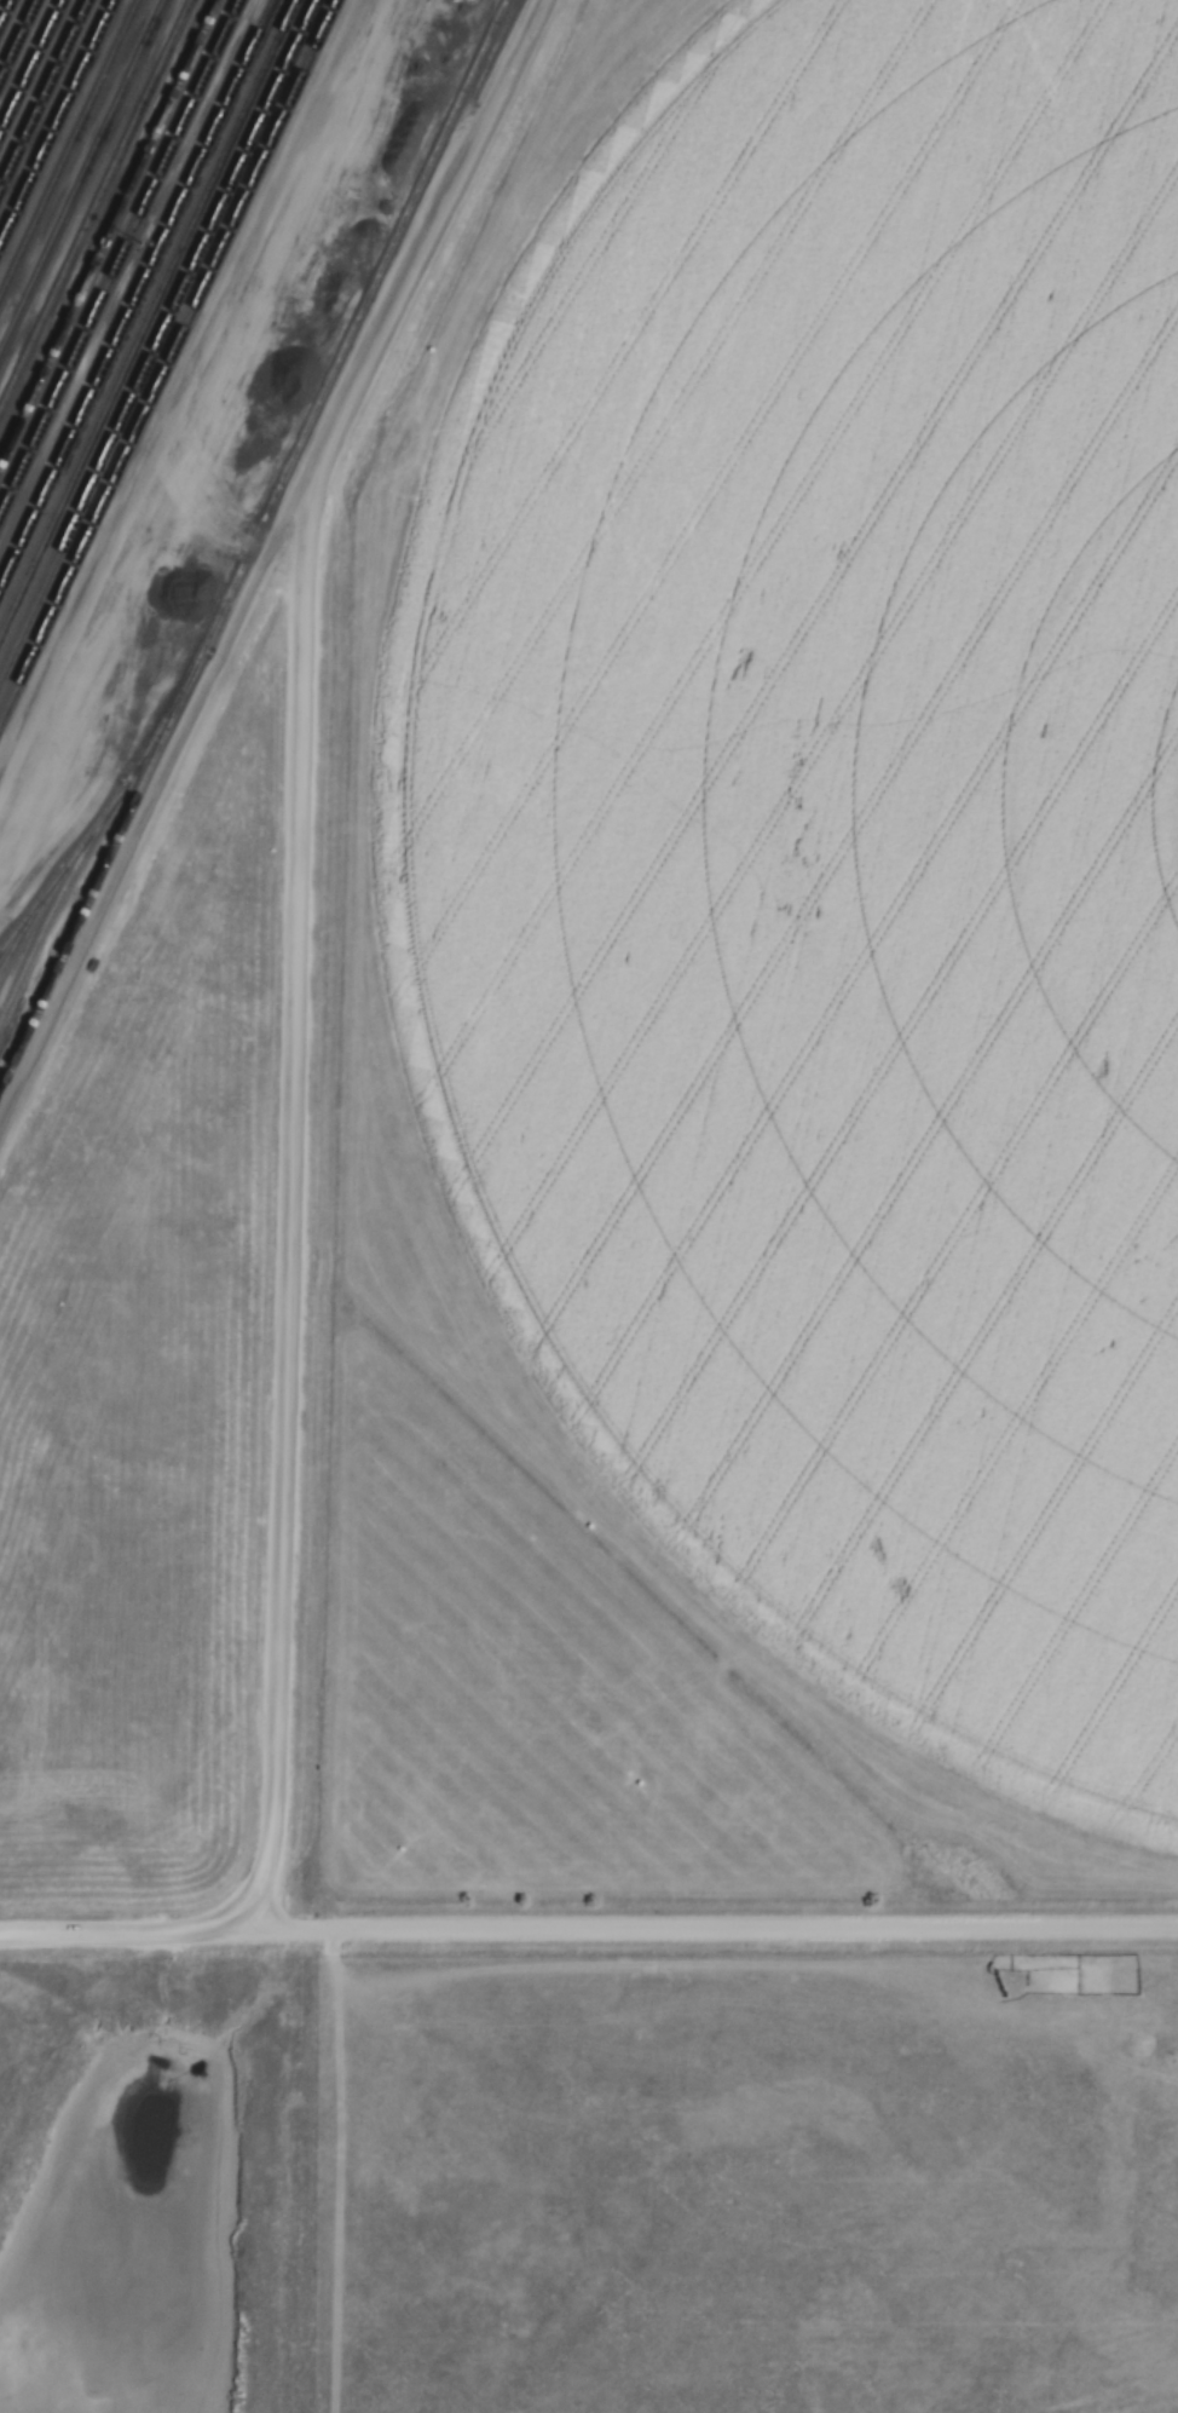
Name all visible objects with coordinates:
railway: (2, 6)
railway: (16, 35)
railway: (500, 50)
railway: (30, 65)
railway: (42, 91)
railway: (56, 120)
railway: (68, 146)
railway: (81, 174)
railway: (93, 200)
railway: (106, 229)
railway: (116, 254)
railway: (135, 290)
railway: (146, 315)
railway: (352, 321)
railway: (156, 339)
railway: (166, 358)
road: (266, 555)
railway: (96, 827)
railway: (102, 864)
railway: (62, 866)
railway: (29, 915)
road: (288, 1199)
road: (589, 1929)

